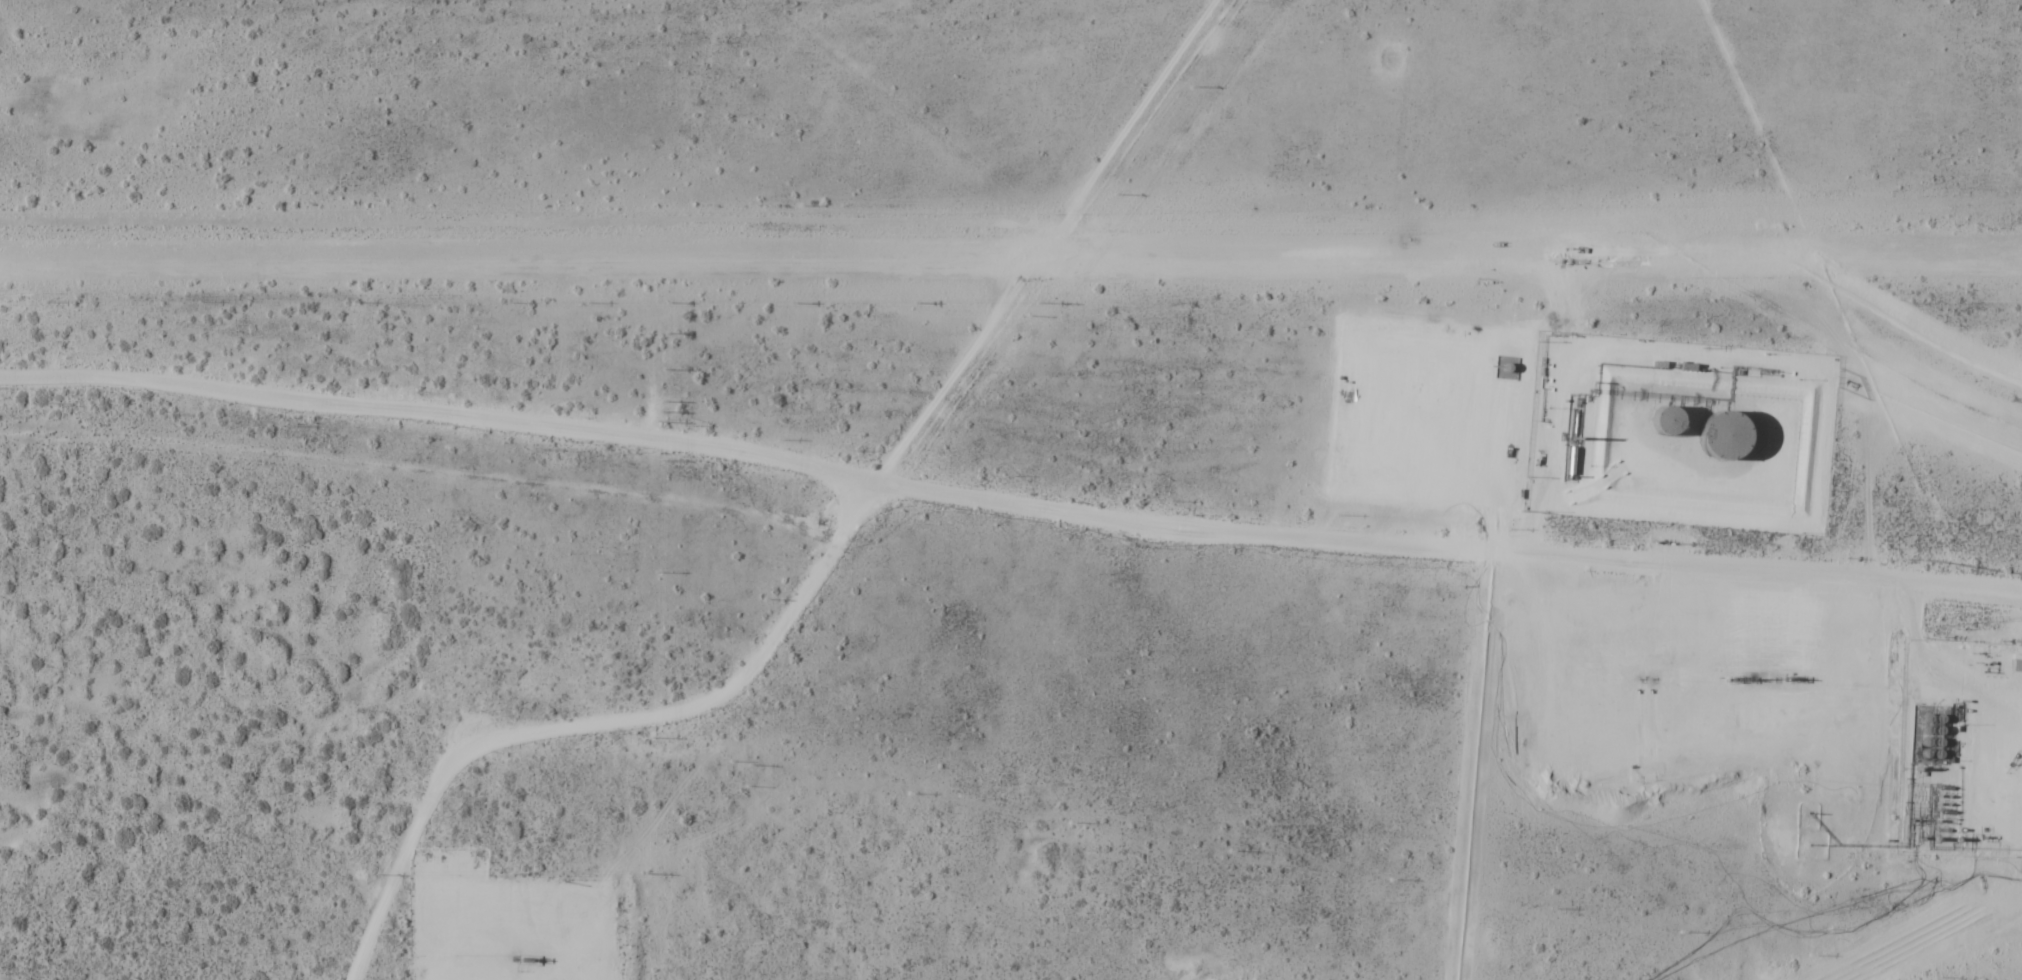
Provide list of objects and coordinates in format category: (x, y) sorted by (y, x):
road: (1049, 241)
road: (1485, 377)
road: (441, 412)
road: (1057, 507)

